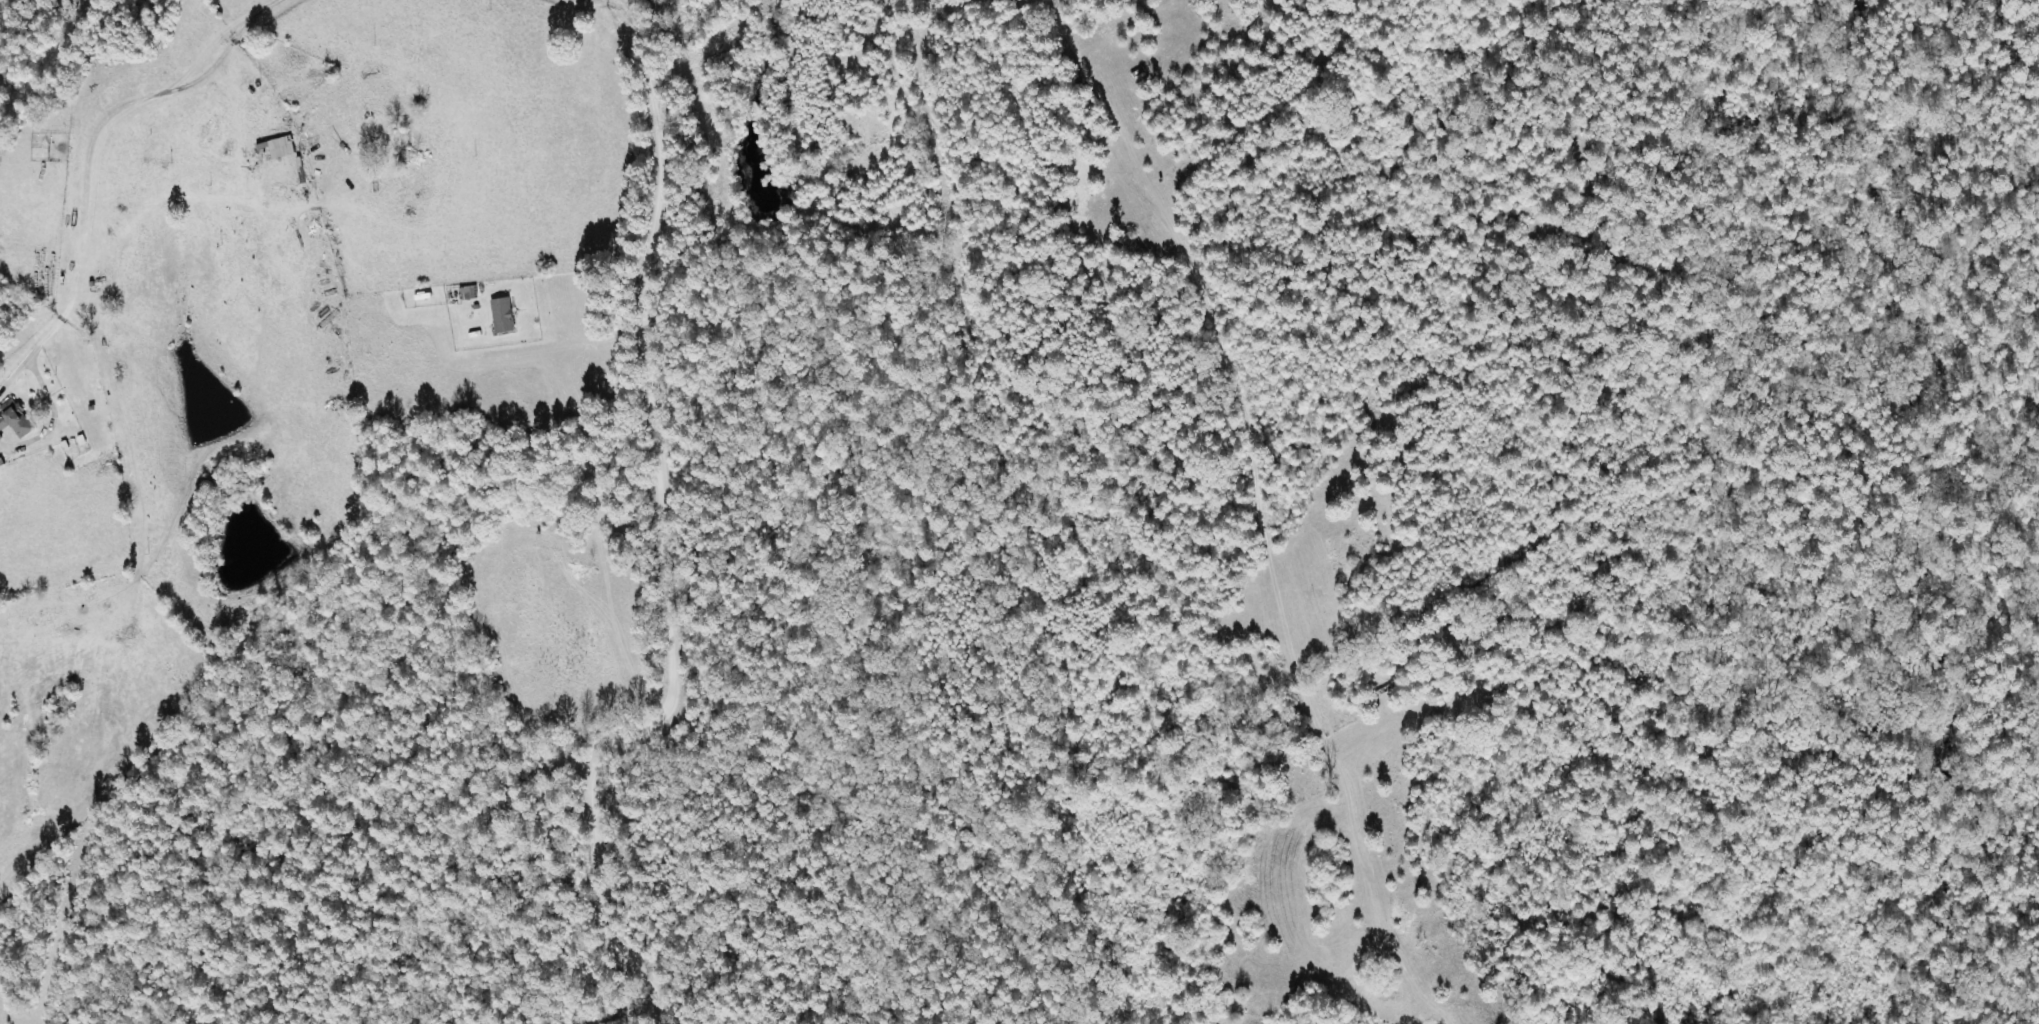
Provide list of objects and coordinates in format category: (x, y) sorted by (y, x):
building: (278, 148)
building: (503, 315)
building: (17, 418)
building: (3, 423)
building: (0, 437)
road: (653, 524)

